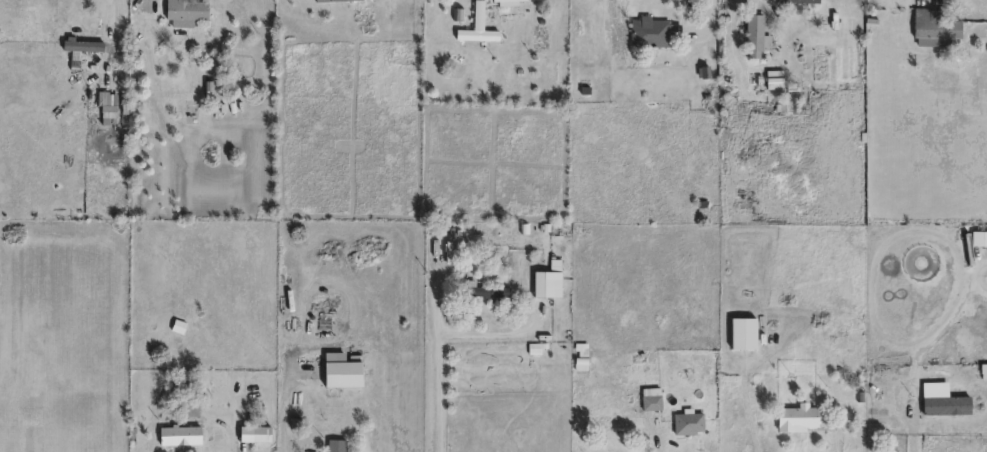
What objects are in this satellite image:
building: (339, 0)
building: (505, 1)
road: (119, 3)
road: (760, 3)
building: (777, 6)
building: (808, 6)
building: (191, 9)
building: (775, 10)
building: (806, 10)
building: (478, 15)
road: (708, 27)
building: (933, 27)
building: (655, 32)
building: (753, 35)
building: (85, 44)
building: (773, 75)
building: (553, 279)
building: (493, 292)
building: (742, 332)
building: (838, 344)
building: (983, 370)
road: (447, 378)
building: (650, 398)
building: (945, 404)
building: (793, 417)
road: (275, 420)
building: (688, 423)
road: (902, 430)
road: (235, 431)
building: (183, 434)
road: (660, 438)
building: (340, 445)
road: (317, 451)

